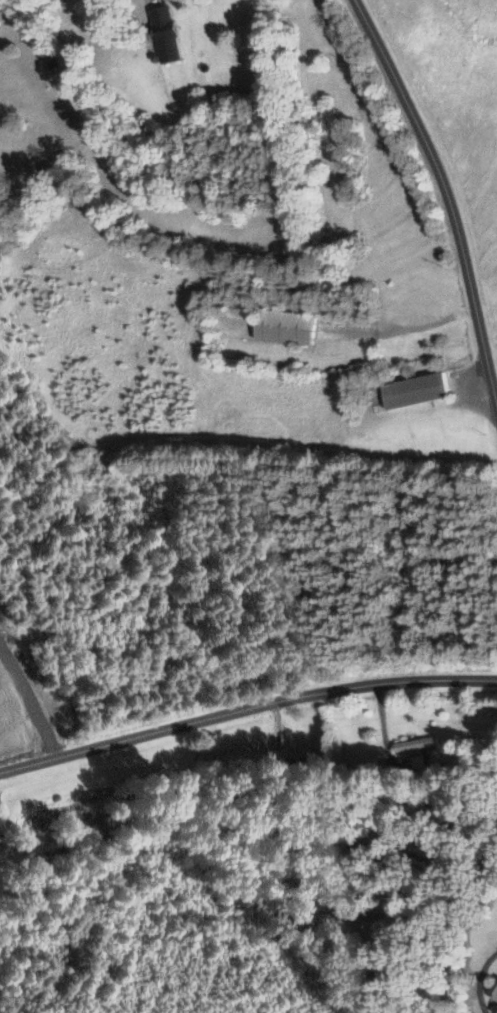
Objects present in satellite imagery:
building: (162, 33)
road: (443, 200)
building: (283, 326)
road: (397, 330)
building: (412, 390)
road: (245, 708)
building: (412, 744)
building: (279, 765)
road: (476, 979)
building: (495, 1007)

